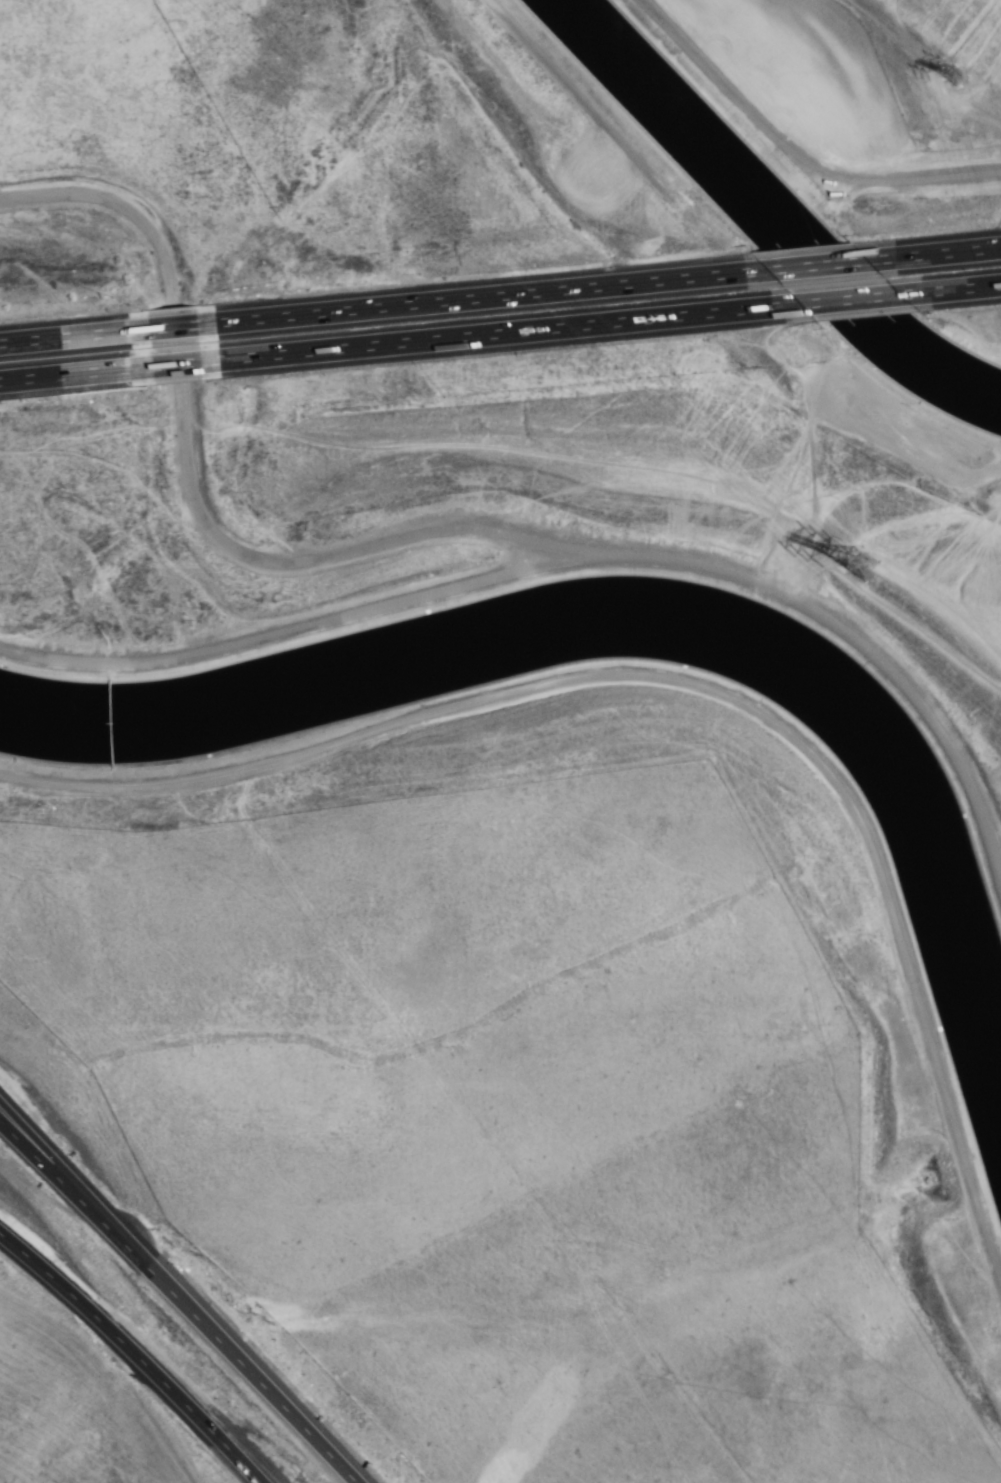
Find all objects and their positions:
power tower: (968, 76)
road: (792, 151)
road: (933, 253)
road: (815, 265)
road: (949, 288)
road: (480, 296)
road: (847, 299)
road: (171, 326)
road: (498, 332)
road: (73, 335)
road: (174, 363)
road: (75, 373)
road: (441, 528)
power tower: (887, 575)
road: (74, 1184)
road: (73, 1195)
road: (49, 1276)
road: (251, 1374)
road: (179, 1399)

